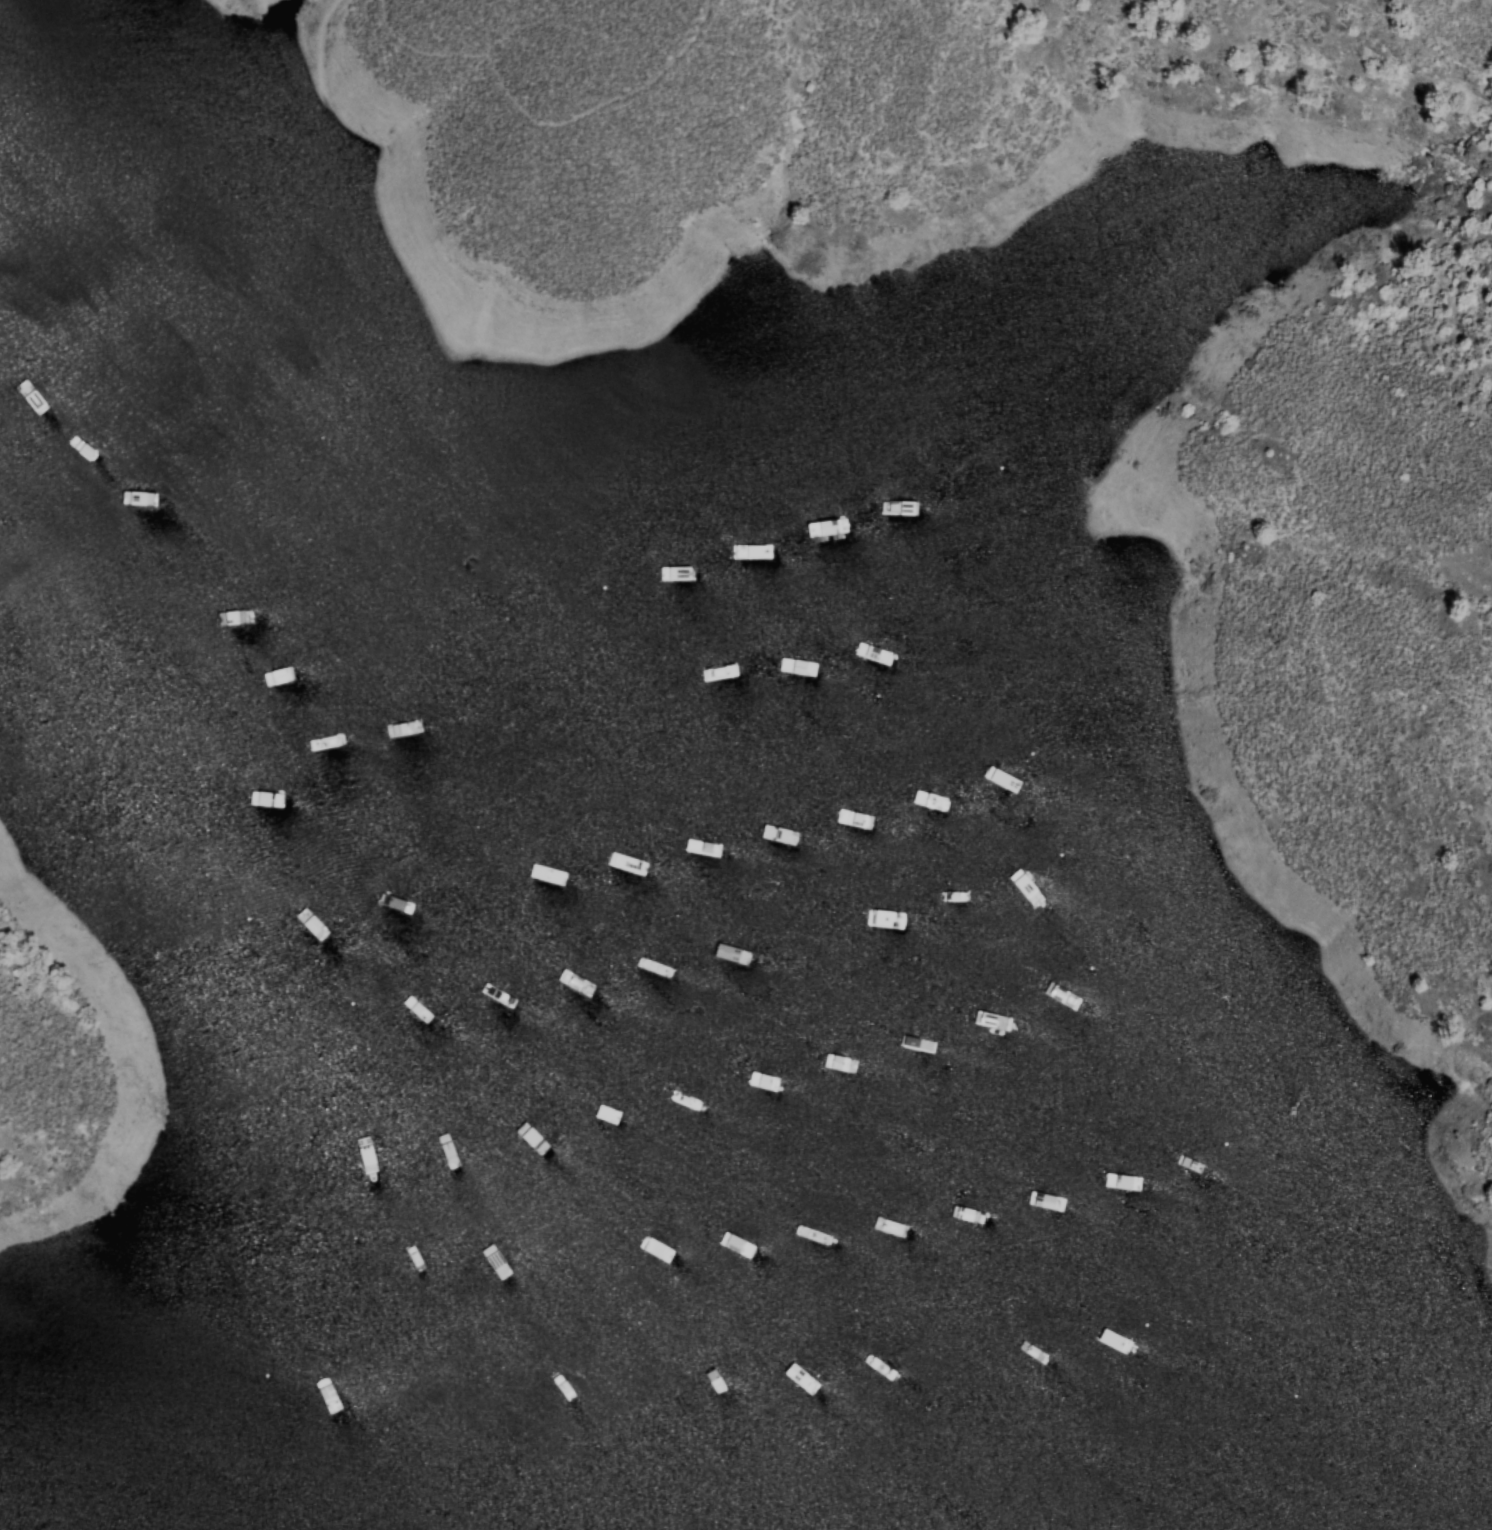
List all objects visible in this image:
road: (666, 65)
building: (165, 555)
building: (200, 707)
building: (980, 840)
building: (550, 1159)
building: (501, 1297)

